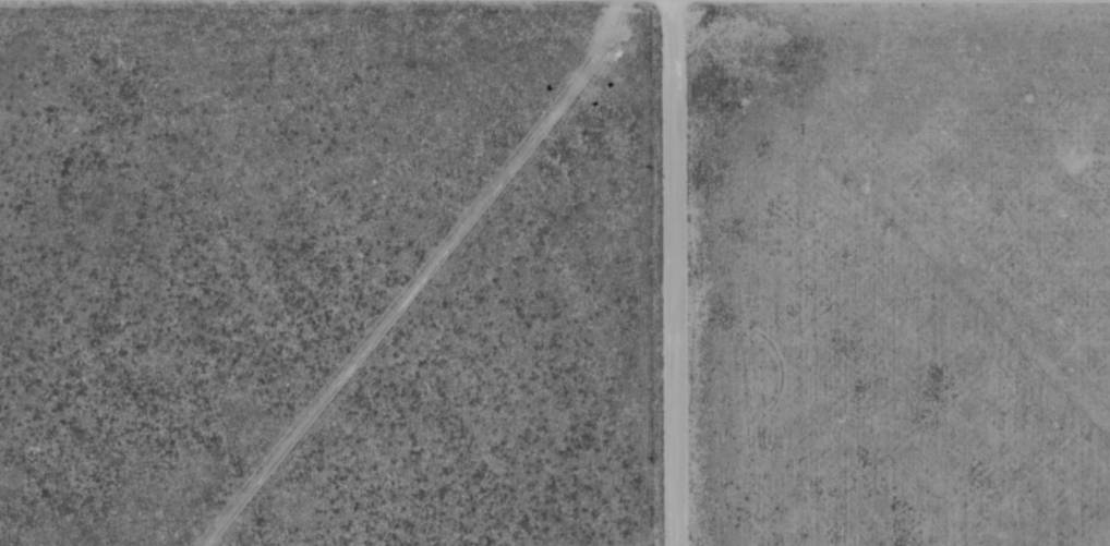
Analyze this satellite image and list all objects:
road: (674, 272)

